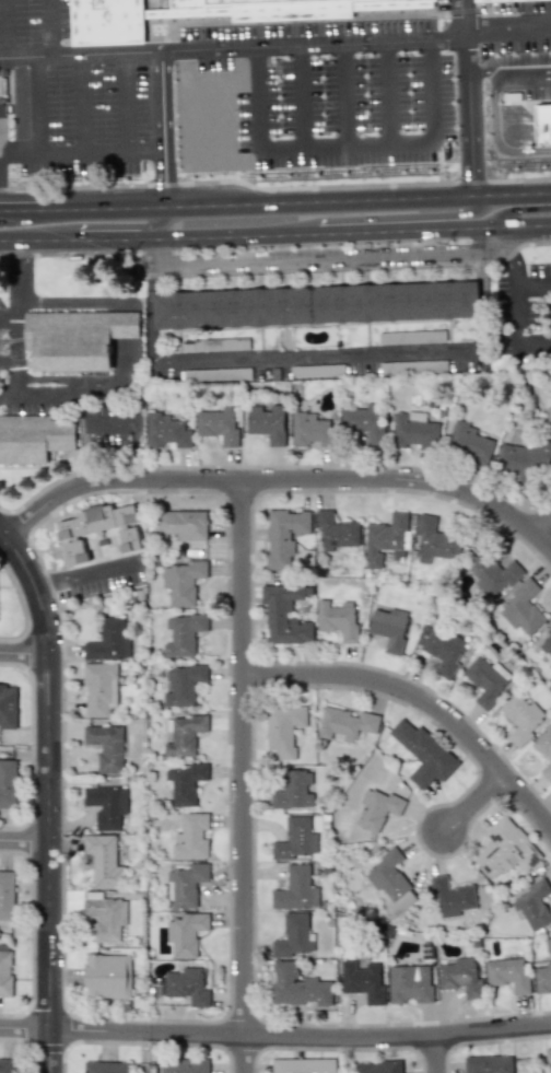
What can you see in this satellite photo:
building: (480, 0)
building: (289, 8)
road: (10, 16)
road: (458, 20)
building: (108, 23)
parking lot: (34, 24)
road: (513, 35)
road: (467, 38)
road: (261, 47)
parking lot: (517, 53)
road: (81, 55)
road: (48, 75)
road: (513, 83)
road: (427, 92)
road: (390, 93)
road: (354, 94)
road: (317, 95)
road: (280, 96)
parking lot: (313, 96)
road: (243, 98)
road: (204, 100)
road: (122, 102)
road: (83, 103)
road: (19, 106)
road: (476, 113)
road: (460, 114)
parking lot: (87, 118)
building: (537, 127)
road: (317, 145)
road: (185, 149)
road: (145, 150)
road: (86, 151)
road: (23, 154)
road: (489, 154)
road: (165, 174)
road: (303, 193)
road: (27, 201)
road: (515, 209)
road: (154, 217)
road: (396, 217)
road: (275, 232)
road: (62, 252)
road: (513, 252)
road: (314, 257)
road: (344, 267)
road: (532, 281)
road: (74, 305)
building: (315, 305)
road: (8, 313)
road: (515, 316)
road: (15, 317)
building: (411, 337)
building: (75, 338)
building: (215, 343)
road: (534, 349)
road: (314, 357)
road: (8, 359)
building: (412, 366)
building: (216, 374)
road: (8, 398)
road: (79, 404)
building: (548, 413)
building: (364, 422)
building: (267, 423)
building: (218, 424)
building: (310, 430)
building: (166, 431)
building: (413, 431)
building: (34, 438)
building: (469, 442)
building: (525, 458)
road: (274, 465)
road: (279, 481)
building: (179, 524)
road: (543, 526)
building: (98, 528)
building: (336, 530)
building: (284, 536)
building: (385, 539)
building: (434, 540)
building: (492, 574)
building: (183, 581)
road: (22, 604)
building: (521, 608)
building: (284, 615)
building: (337, 619)
building: (389, 628)
building: (183, 634)
building: (109, 640)
building: (546, 644)
building: (439, 648)
road: (25, 654)
building: (484, 681)
building: (181, 684)
building: (99, 688)
road: (421, 699)
building: (8, 707)
building: (521, 718)
building: (347, 723)
building: (283, 728)
building: (184, 735)
building: (106, 747)
building: (544, 750)
building: (423, 754)
road: (245, 777)
building: (185, 782)
building: (8, 783)
building: (294, 790)
road: (50, 796)
road: (478, 804)
building: (106, 805)
building: (376, 808)
building: (191, 836)
building: (295, 839)
road: (25, 840)
building: (505, 849)
building: (104, 861)
building: (390, 882)
building: (186, 884)
building: (296, 889)
building: (7, 895)
building: (450, 896)
building: (532, 905)
building: (106, 917)
building: (186, 933)
building: (293, 936)
building: (5, 972)
building: (507, 973)
building: (543, 973)
building: (107, 976)
building: (459, 976)
building: (362, 981)
building: (409, 983)
building: (187, 985)
building: (298, 987)
road: (275, 1035)
road: (25, 1045)
road: (438, 1053)
building: (548, 1058)
building: (488, 1064)
building: (8, 1065)
building: (184, 1065)
building: (303, 1065)
building: (105, 1066)
building: (379, 1066)

